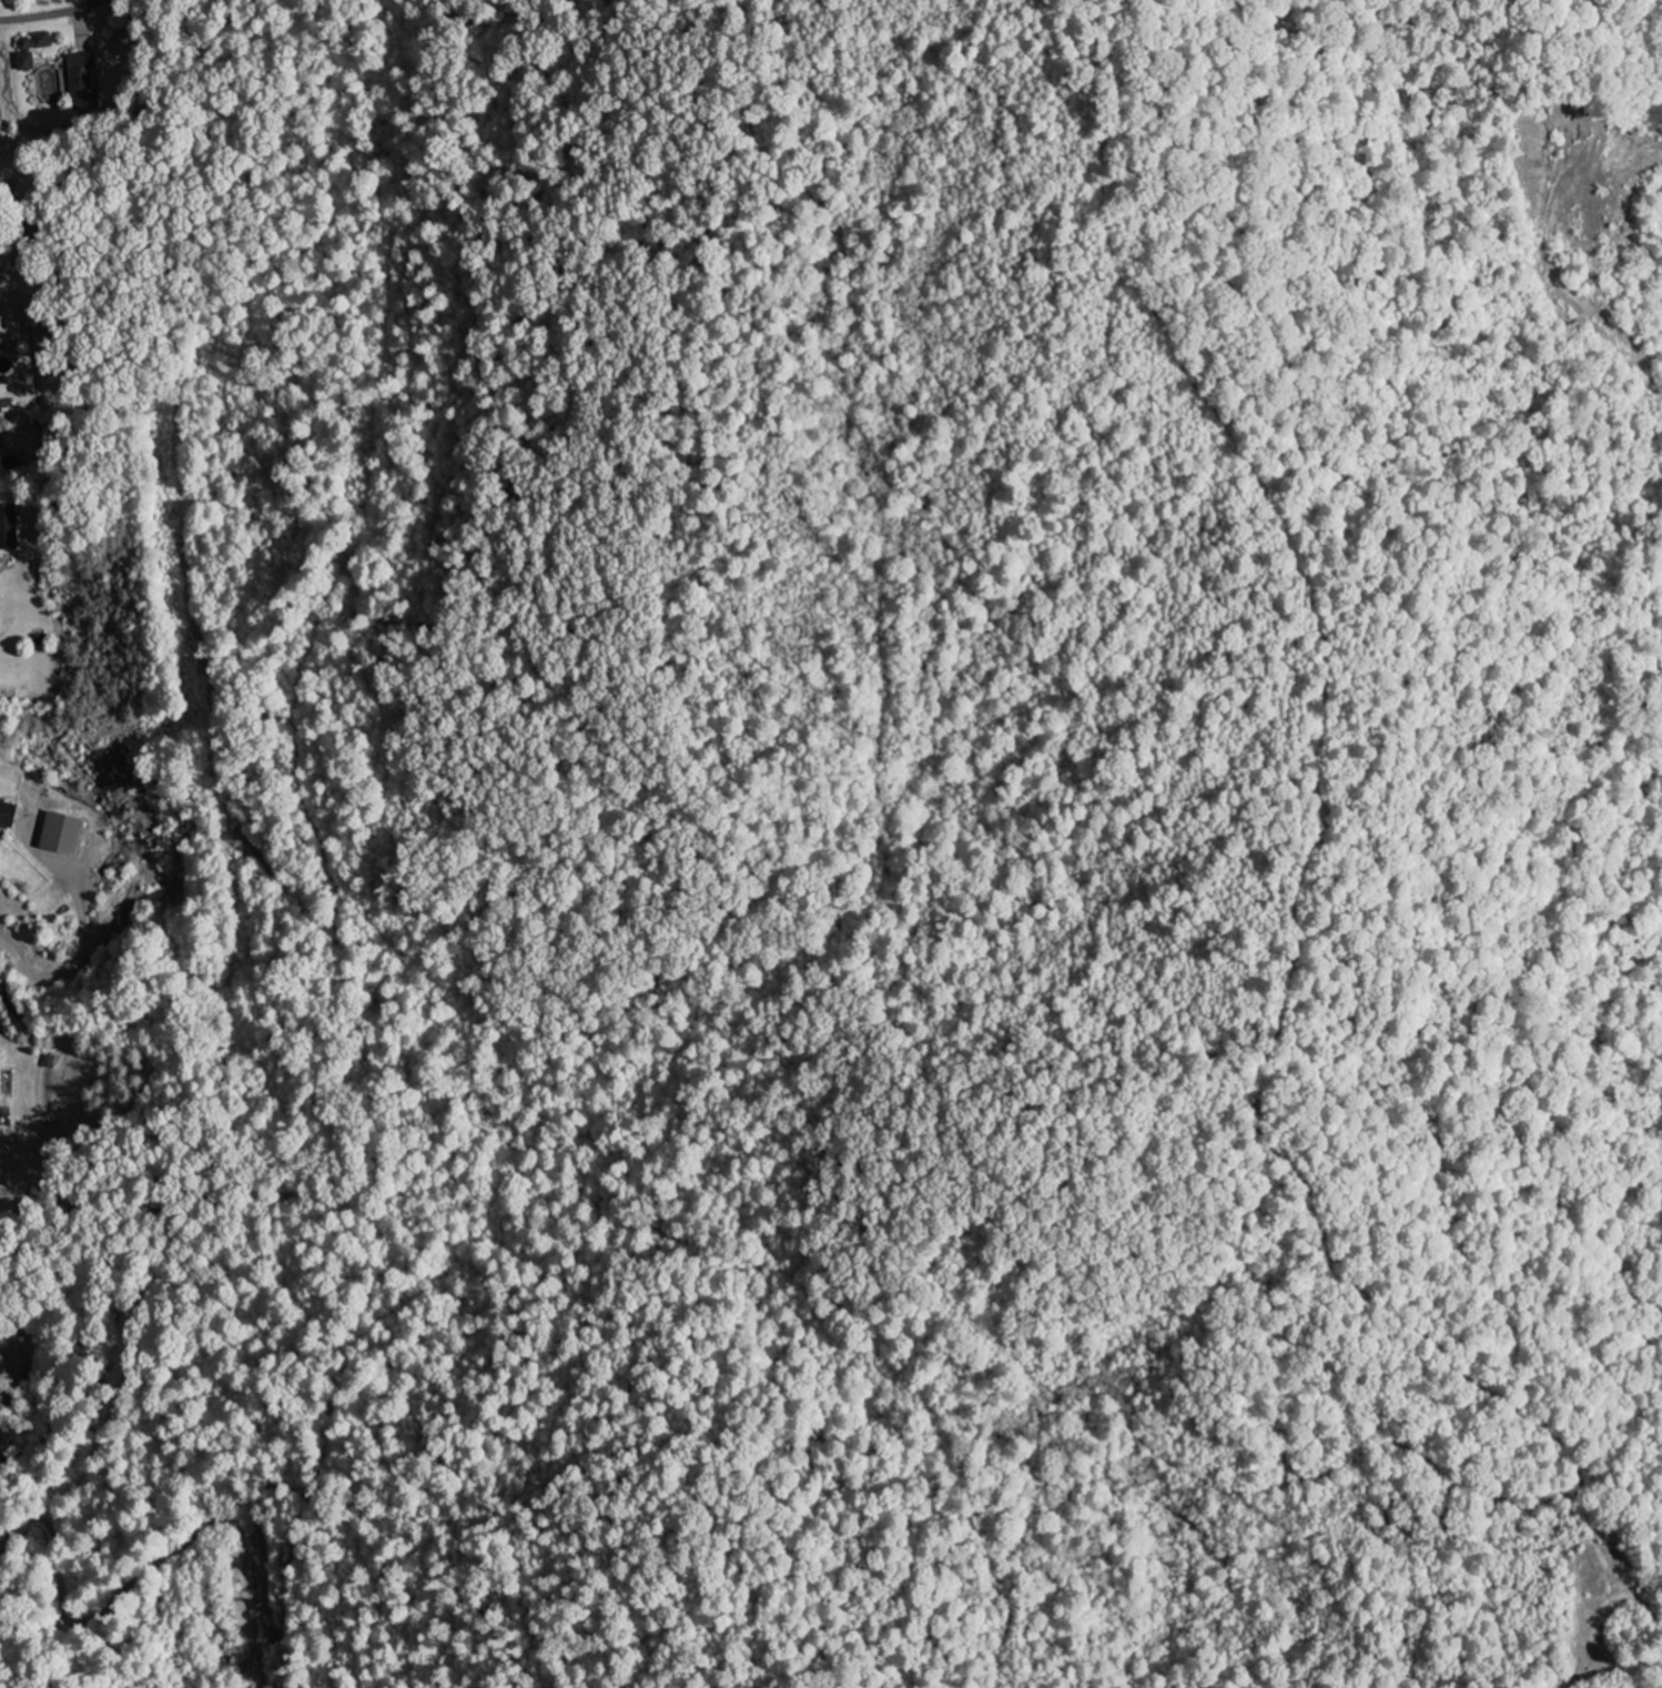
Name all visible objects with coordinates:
road: (50, 13)
building: (80, 81)
road: (1551, 265)
building: (8, 527)
building: (7, 816)
building: (57, 833)
road: (1310, 876)
building: (0, 1067)

